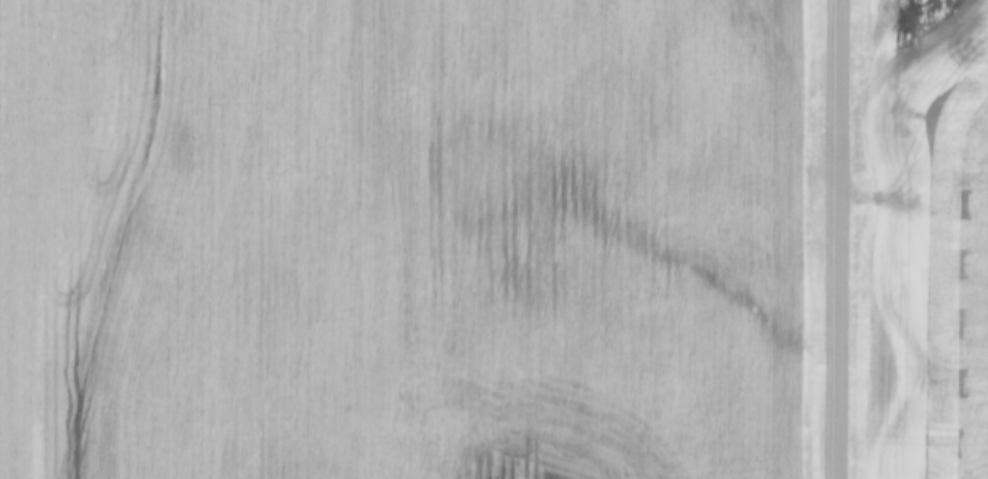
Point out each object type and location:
road: (844, 239)

